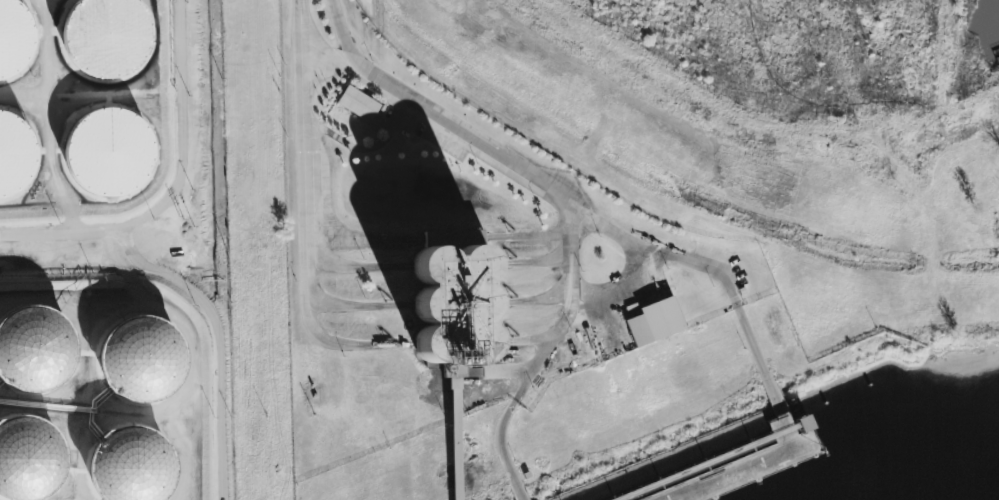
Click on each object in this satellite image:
building: (12, 39)
building: (356, 103)
building: (13, 156)
road: (555, 206)
building: (444, 300)
building: (653, 322)
road: (322, 336)
building: (19, 451)
pier: (765, 466)

